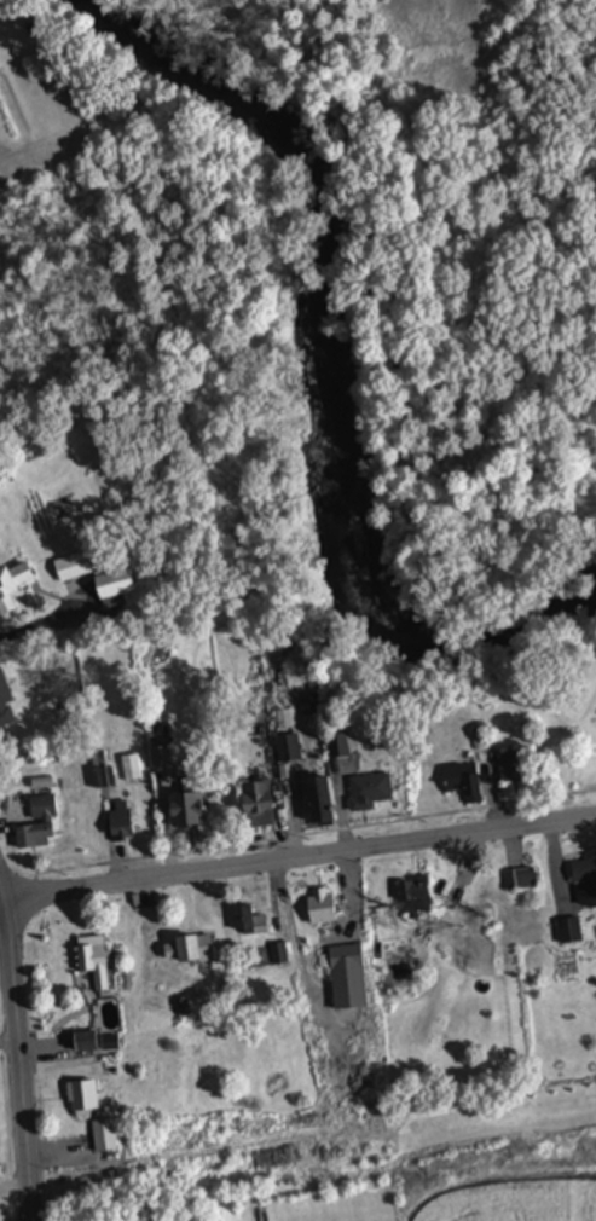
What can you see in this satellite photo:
river: (328, 364)
building: (74, 568)
building: (13, 586)
building: (116, 588)
road: (44, 624)
building: (6, 705)
building: (341, 748)
building: (291, 751)
building: (514, 771)
building: (464, 783)
building: (372, 794)
building: (324, 803)
building: (261, 808)
building: (191, 811)
building: (123, 823)
building: (40, 827)
road: (300, 862)
building: (522, 881)
building: (585, 885)
building: (418, 899)
road: (2, 905)
building: (324, 909)
building: (251, 925)
building: (571, 933)
road: (320, 942)
building: (191, 953)
building: (97, 966)
building: (349, 979)
road: (10, 1042)
building: (88, 1044)
road: (21, 1054)
building: (86, 1100)
building: (108, 1136)
road: (16, 1192)

